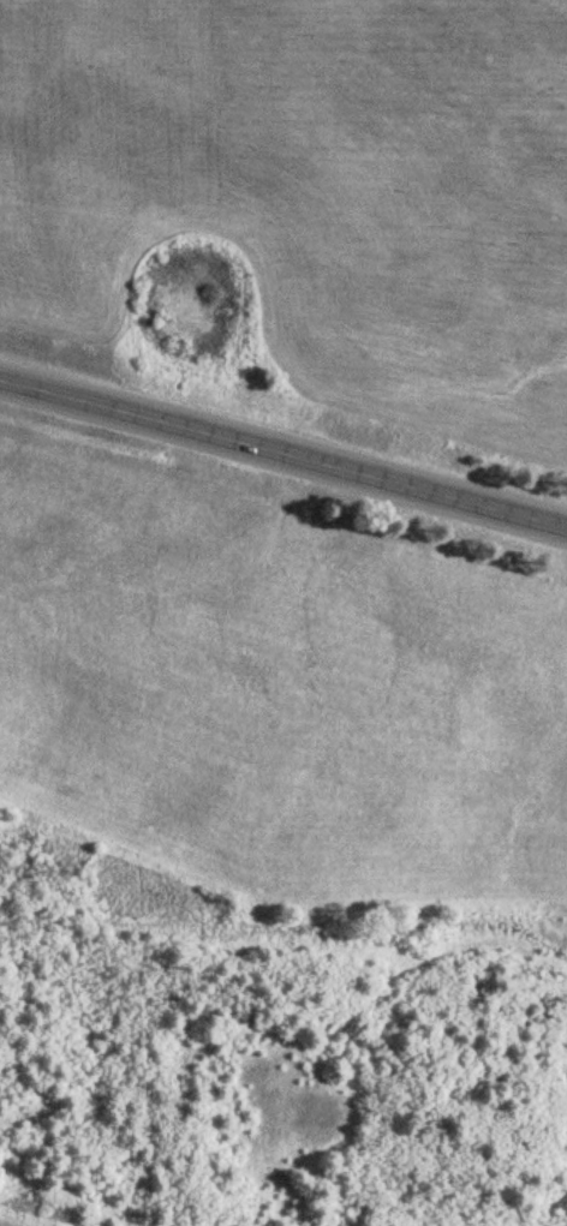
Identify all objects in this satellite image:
road: (283, 453)

